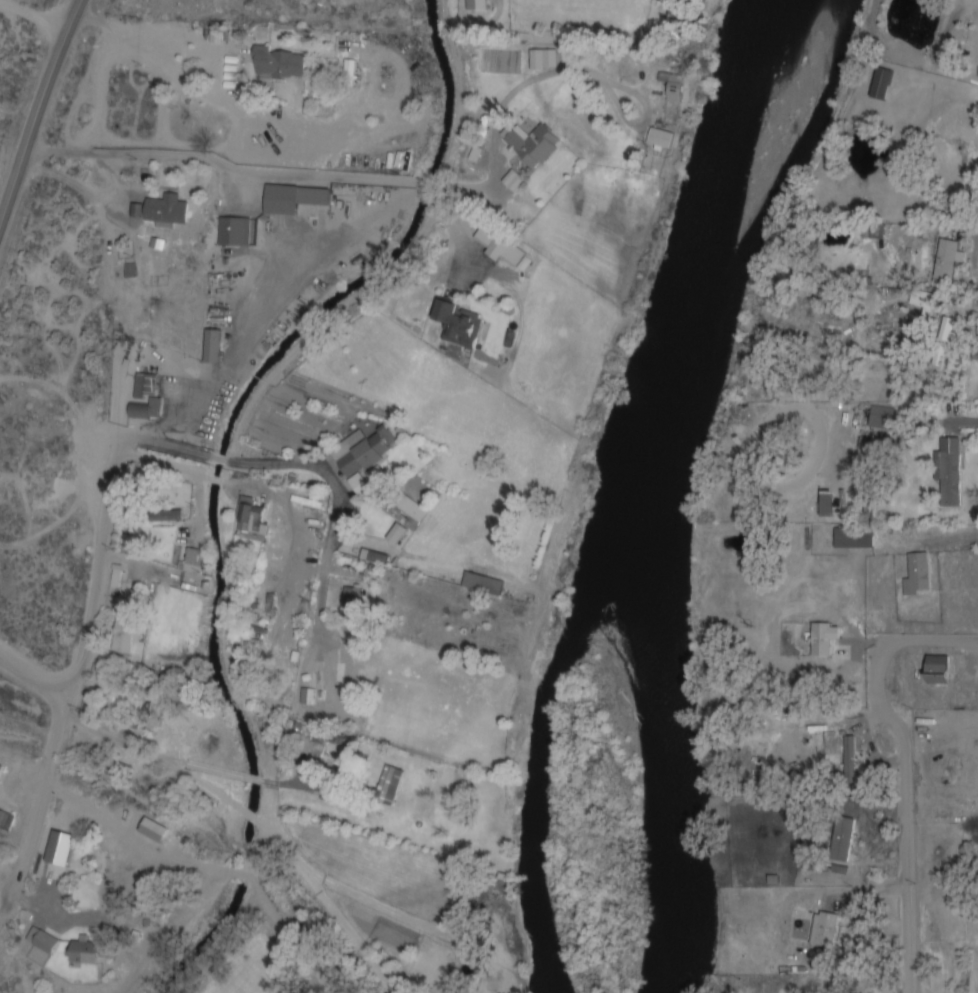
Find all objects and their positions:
building: (477, 6)
road: (34, 17)
building: (545, 60)
building: (280, 64)
building: (882, 84)
building: (674, 86)
road: (39, 111)
building: (661, 141)
building: (533, 145)
building: (294, 200)
building: (167, 212)
building: (878, 233)
building: (233, 234)
building: (504, 249)
building: (949, 260)
building: (929, 305)
building: (459, 324)
building: (213, 346)
building: (940, 358)
building: (145, 398)
building: (364, 459)
road: (220, 460)
building: (951, 473)
river: (642, 487)
building: (413, 508)
building: (169, 516)
building: (251, 519)
road: (334, 519)
road: (108, 523)
building: (398, 534)
building: (854, 540)
building: (376, 557)
building: (192, 564)
building: (919, 574)
building: (485, 585)
building: (354, 601)
building: (126, 633)
building: (824, 640)
building: (938, 671)
road: (33, 677)
building: (332, 687)
building: (308, 699)
building: (335, 742)
building: (851, 755)
river: (538, 765)
building: (1, 769)
road: (904, 770)
building: (389, 785)
road: (39, 807)
building: (844, 839)
building: (977, 875)
building: (826, 929)
building: (44, 941)
building: (85, 952)

